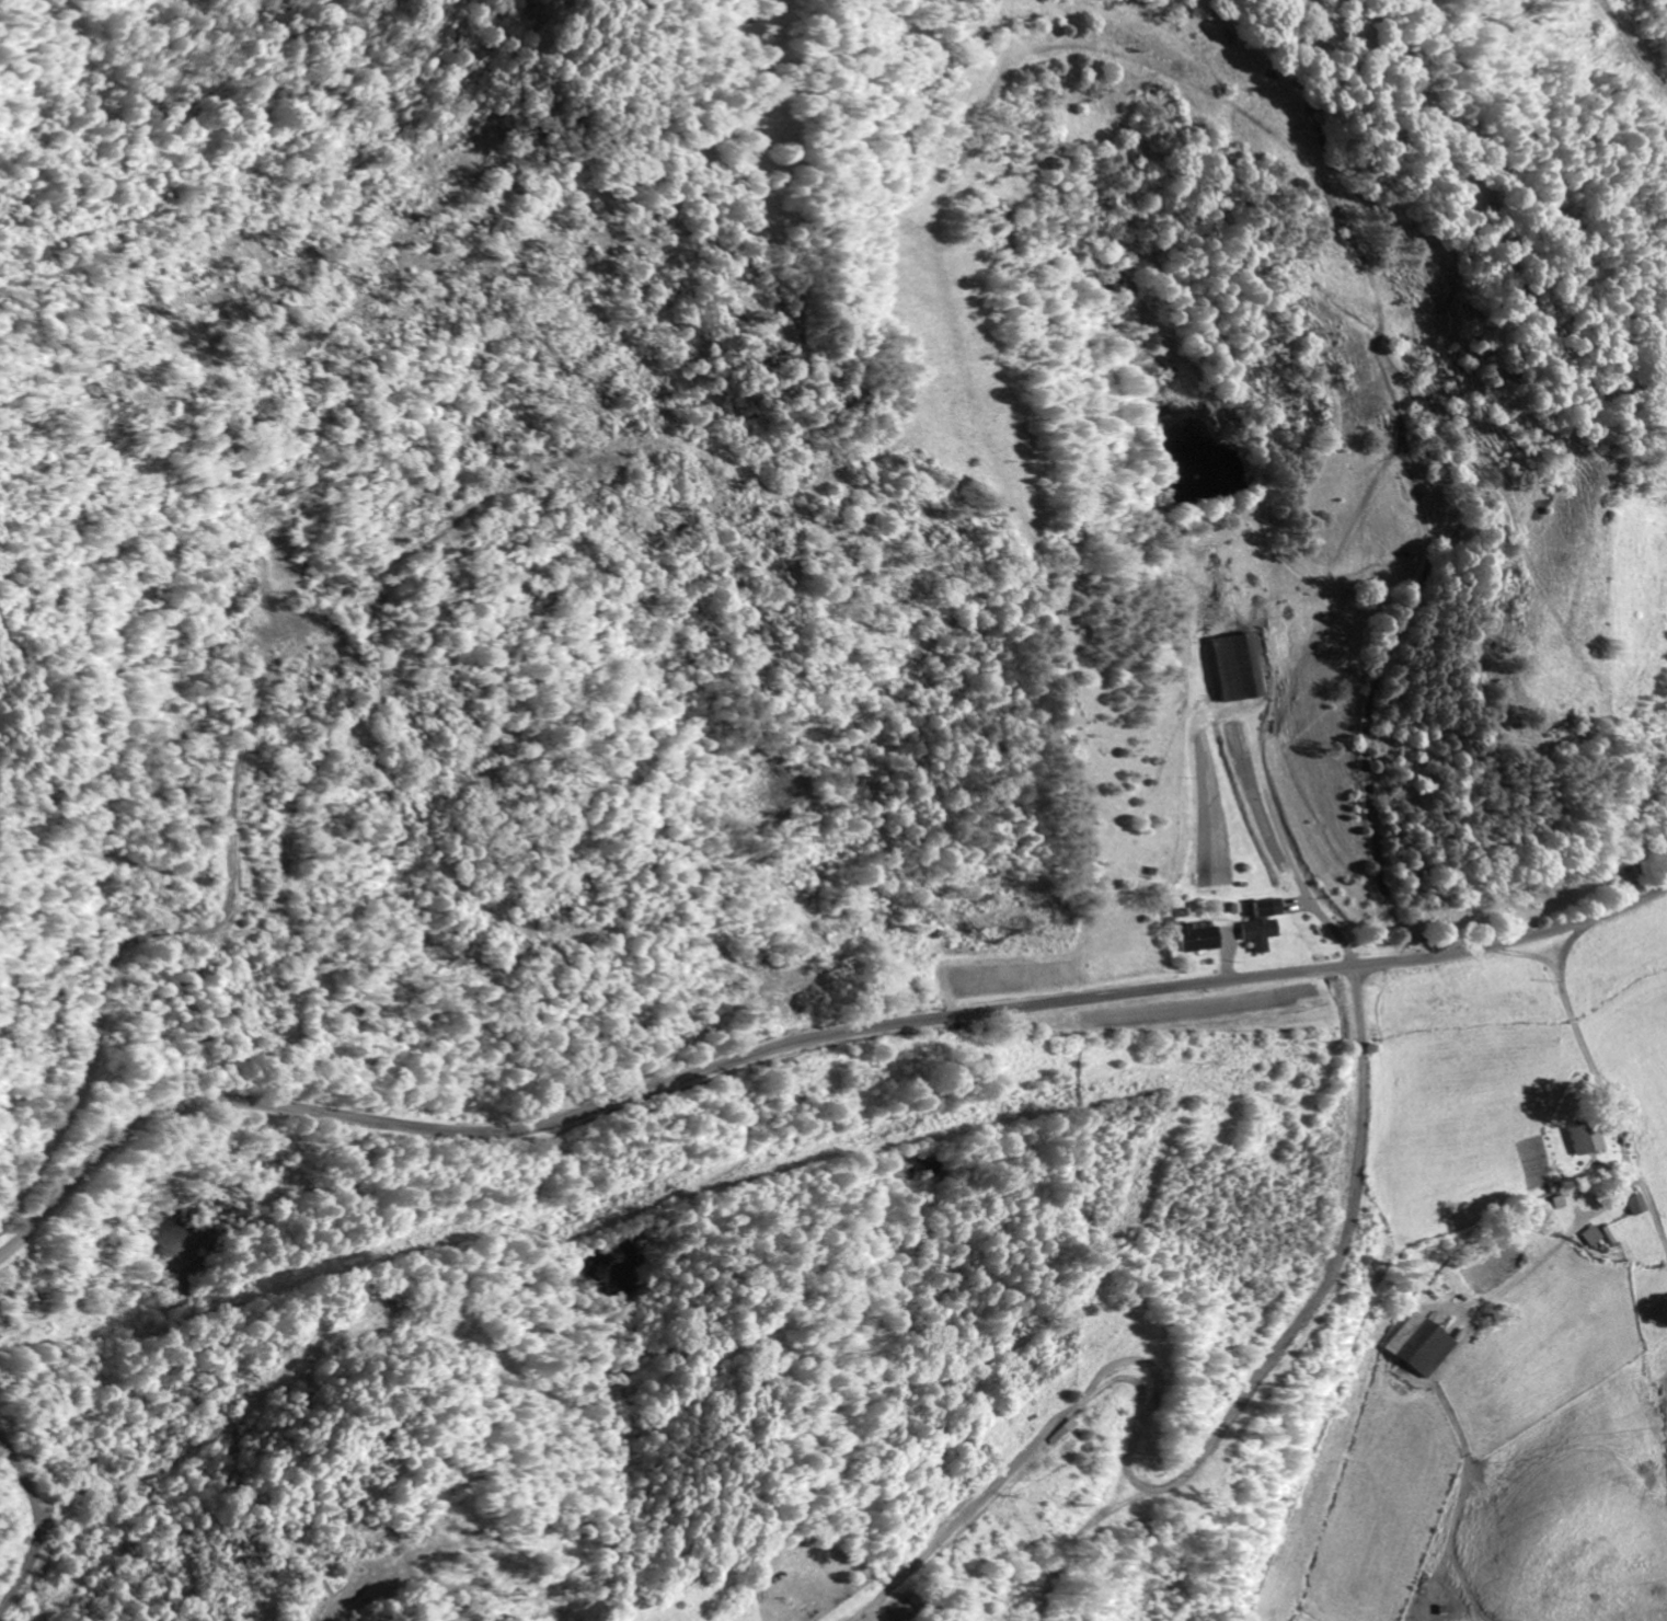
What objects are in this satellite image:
building: (1231, 668)
building: (1260, 928)
building: (1196, 936)
road: (805, 1041)
building: (1582, 1137)
road: (1394, 1173)
building: (1633, 1204)
building: (1608, 1233)
building: (1589, 1235)
building: (1422, 1346)

